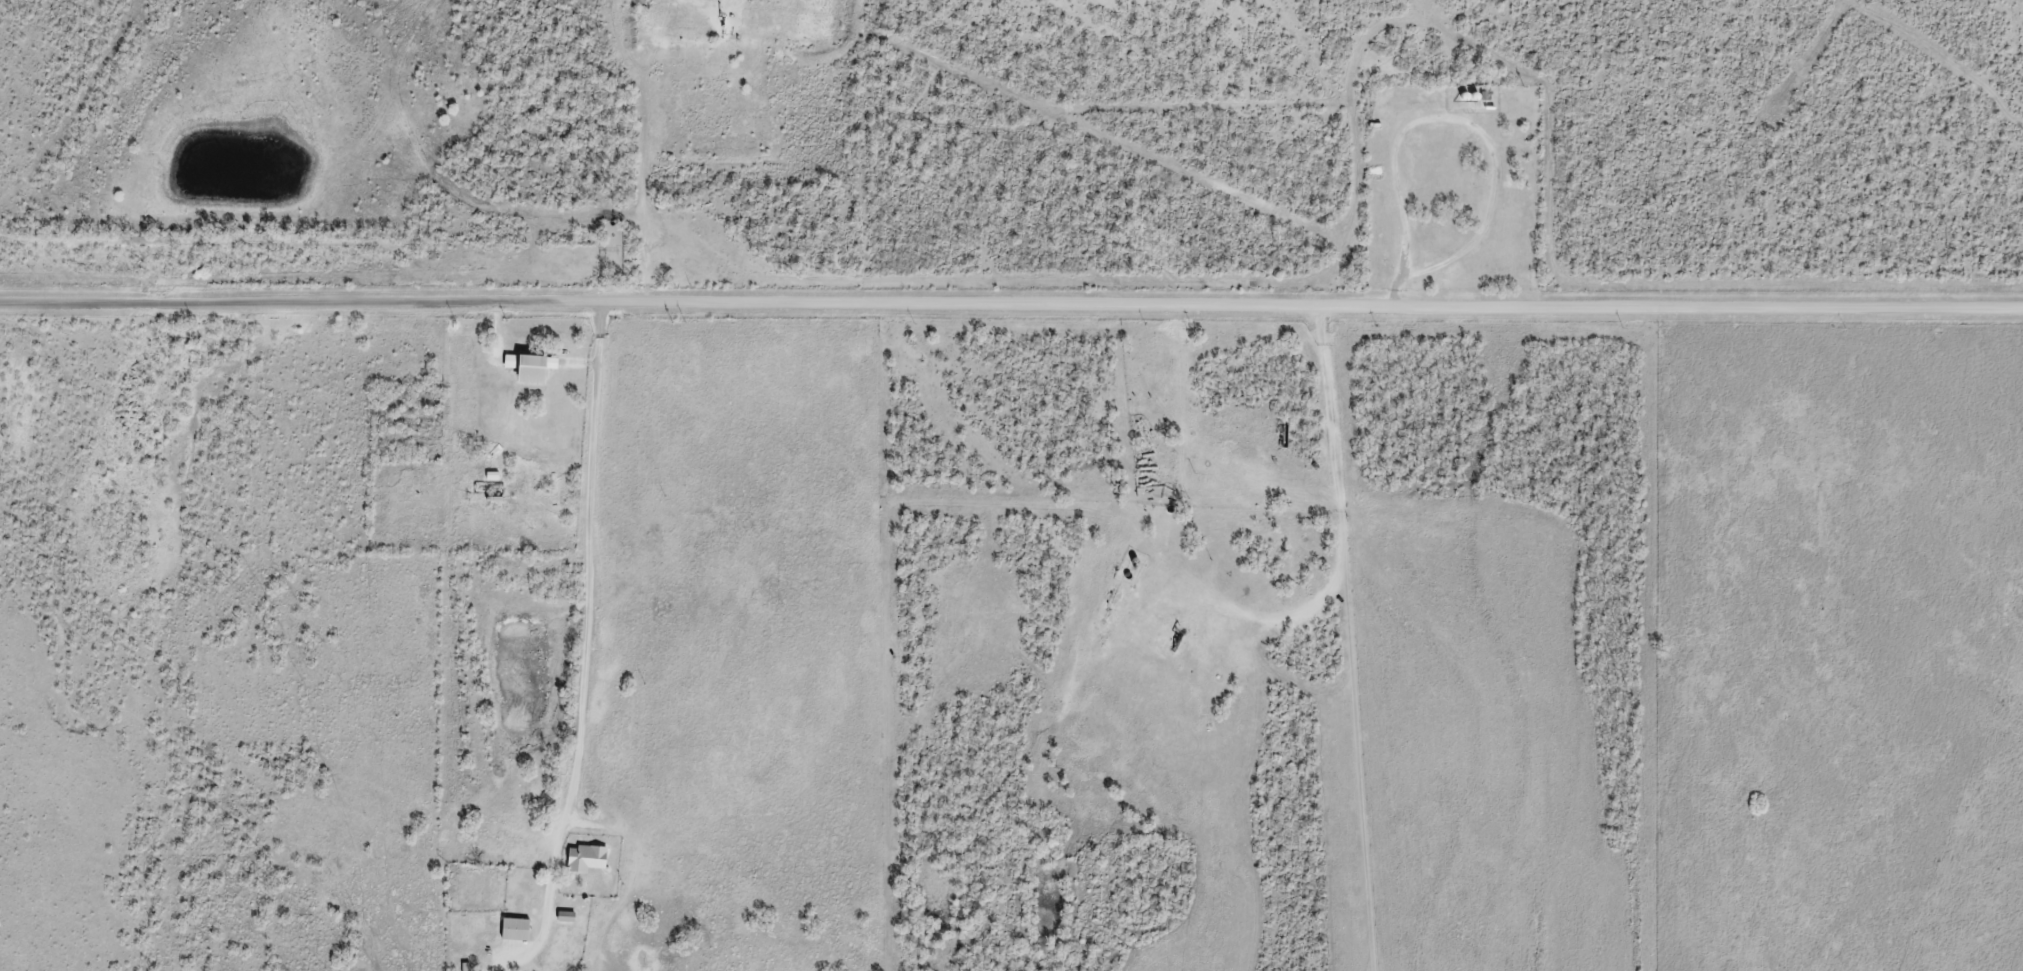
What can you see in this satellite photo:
road: (1011, 302)
building: (526, 370)
road: (598, 571)
building: (585, 857)
building: (565, 915)
building: (516, 929)

